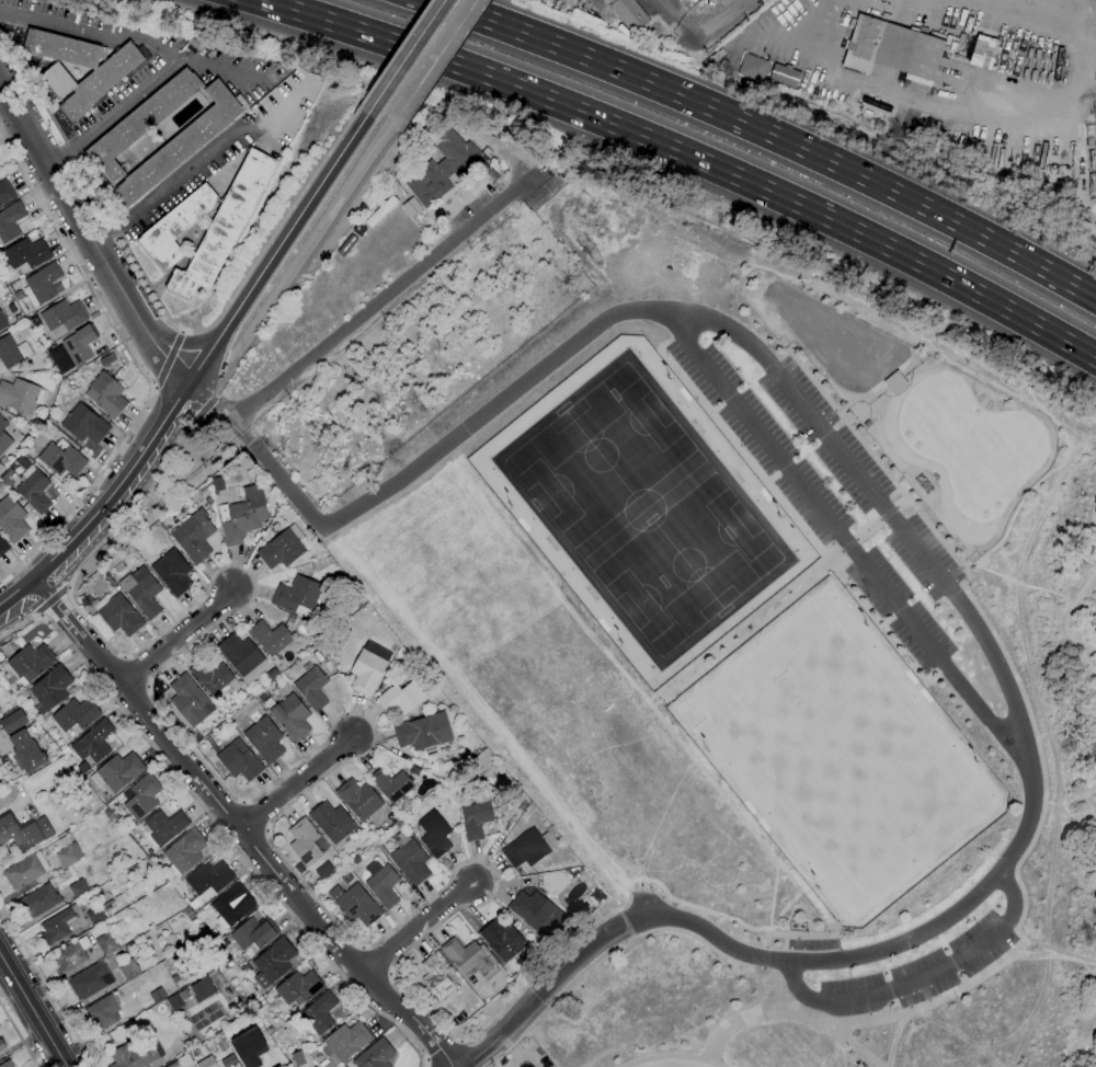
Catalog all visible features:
building: (693, 0)
building: (629, 14)
road: (678, 18)
road: (715, 18)
road: (133, 36)
building: (64, 48)
building: (894, 50)
road: (395, 51)
road: (406, 54)
road: (434, 58)
road: (446, 60)
building: (752, 67)
building: (784, 76)
road: (635, 78)
building: (57, 80)
building: (102, 80)
road: (539, 92)
road: (126, 102)
road: (980, 115)
building: (139, 123)
building: (180, 146)
road: (60, 156)
building: (443, 167)
road: (170, 181)
building: (5, 192)
building: (379, 210)
building: (10, 221)
building: (222, 227)
building: (175, 228)
road: (967, 229)
road: (91, 233)
road: (276, 245)
building: (26, 254)
road: (299, 257)
road: (309, 257)
road: (949, 278)
building: (42, 284)
building: (18, 295)
road: (161, 312)
road: (693, 314)
road: (363, 315)
building: (62, 318)
building: (2, 322)
road: (185, 332)
road: (182, 343)
building: (80, 344)
building: (12, 352)
building: (106, 359)
road: (171, 360)
road: (138, 367)
road: (153, 389)
building: (106, 394)
building: (21, 395)
road: (205, 406)
road: (195, 418)
building: (84, 424)
building: (3, 436)
road: (447, 446)
building: (28, 450)
building: (61, 458)
building: (3, 461)
building: (1, 468)
parking lot: (859, 478)
road: (115, 486)
building: (1, 487)
building: (34, 489)
road: (126, 498)
parking lot: (813, 503)
road: (900, 503)
park: (643, 510)
road: (887, 514)
building: (241, 518)
building: (11, 519)
road: (867, 529)
building: (192, 539)
road: (847, 543)
building: (3, 547)
building: (281, 549)
building: (126, 551)
building: (173, 572)
road: (38, 586)
road: (15, 592)
building: (144, 592)
building: (297, 596)
road: (49, 599)
building: (358, 601)
road: (53, 605)
road: (24, 612)
building: (118, 613)
building: (289, 620)
road: (750, 626)
park: (740, 635)
road: (179, 636)
building: (273, 639)
building: (322, 647)
building: (242, 655)
building: (31, 663)
building: (0, 666)
building: (328, 666)
building: (366, 672)
building: (273, 674)
building: (215, 678)
road: (1016, 687)
building: (286, 688)
building: (312, 688)
building: (50, 689)
building: (24, 695)
park: (789, 695)
building: (185, 697)
building: (400, 698)
building: (76, 715)
building: (292, 716)
road: (366, 719)
building: (13, 721)
building: (424, 733)
building: (264, 738)
building: (93, 745)
building: (65, 750)
building: (26, 752)
building: (239, 760)
park: (842, 760)
park: (843, 761)
building: (118, 771)
road: (299, 783)
building: (391, 784)
building: (141, 796)
building: (358, 799)
building: (522, 807)
road: (730, 808)
building: (107, 815)
building: (476, 816)
building: (392, 817)
building: (332, 821)
building: (399, 824)
building: (129, 825)
building: (161, 826)
road: (218, 826)
park: (897, 829)
building: (25, 831)
building: (434, 834)
road: (248, 840)
building: (305, 841)
building: (529, 848)
building: (68, 851)
building: (149, 851)
building: (184, 852)
building: (159, 858)
building: (409, 859)
building: (25, 870)
building: (208, 882)
building: (381, 883)
building: (79, 888)
building: (39, 900)
road: (646, 900)
building: (232, 905)
building: (358, 905)
building: (533, 909)
building: (190, 915)
building: (95, 916)
building: (59, 925)
road: (418, 928)
building: (254, 932)
road: (798, 936)
building: (502, 940)
road: (627, 941)
building: (547, 942)
building: (106, 943)
road: (361, 945)
road: (887, 949)
building: (71, 954)
building: (470, 959)
road: (374, 961)
road: (763, 961)
building: (273, 962)
building: (111, 963)
road: (335, 968)
building: (128, 970)
parking lot: (918, 972)
road: (388, 974)
building: (436, 975)
building: (514, 976)
road: (922, 977)
building: (175, 979)
building: (90, 980)
road: (550, 982)
road: (47, 986)
building: (298, 987)
building: (203, 989)
building: (157, 995)
building: (176, 997)
road: (359, 997)
road: (34, 1009)
building: (103, 1012)
building: (319, 1012)
road: (789, 1012)
road: (18, 1035)
road: (459, 1040)
building: (345, 1042)
building: (2, 1045)
road: (452, 1045)
building: (249, 1047)
building: (134, 1055)
building: (375, 1055)
road: (673, 1056)
road: (424, 1059)
building: (207, 1063)
building: (7, 1064)
building: (174, 1065)

